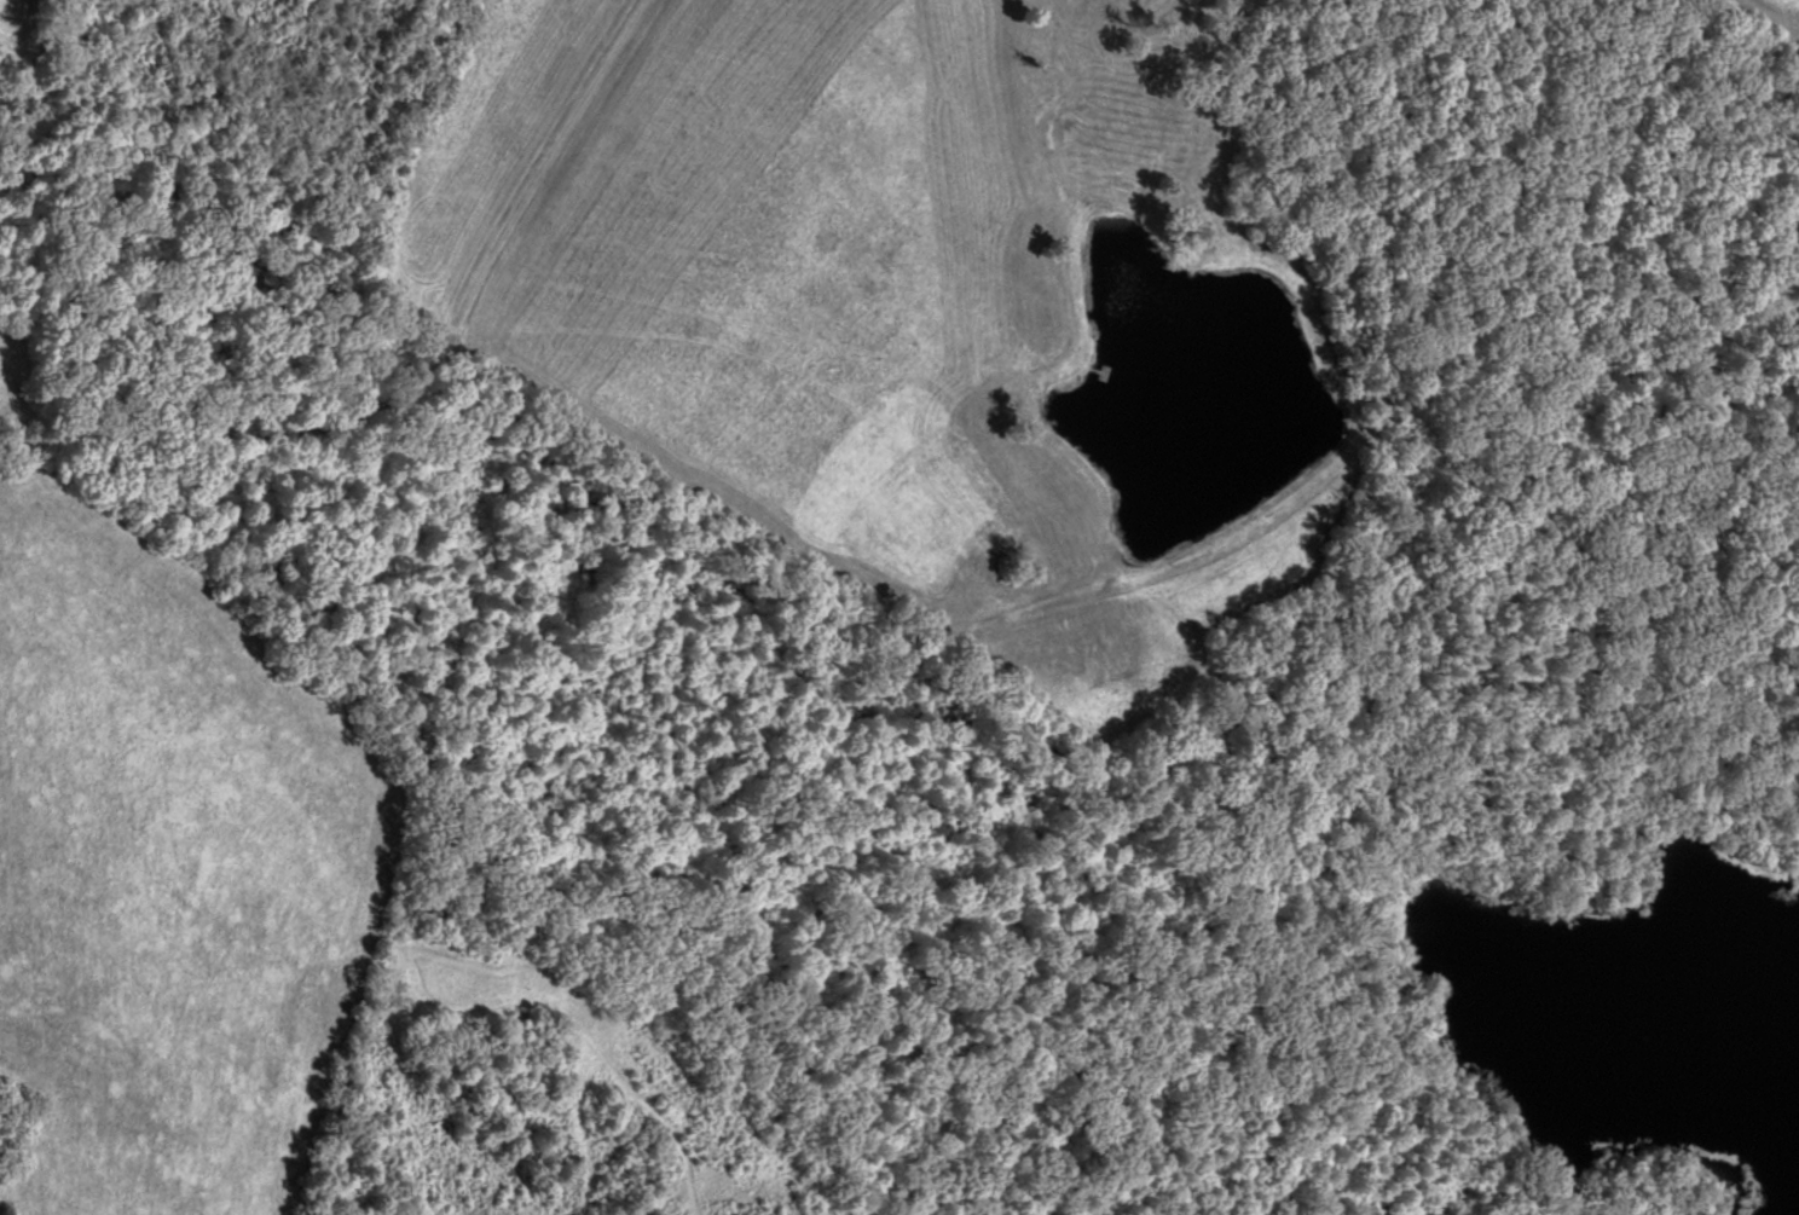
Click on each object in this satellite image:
road: (415, 374)

